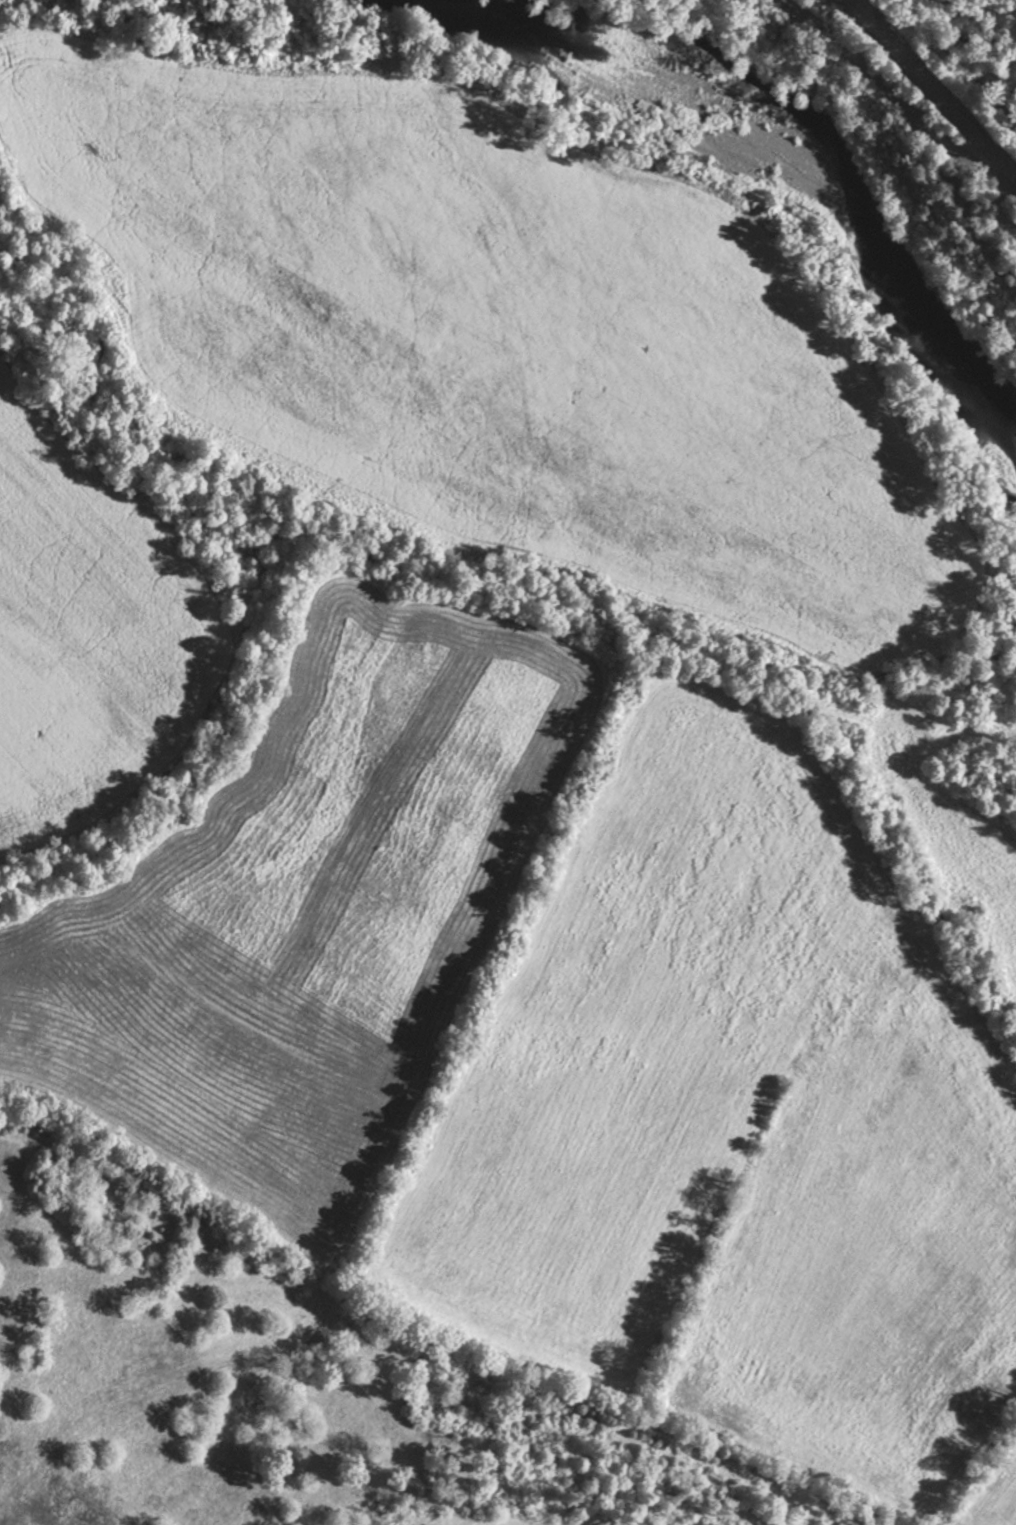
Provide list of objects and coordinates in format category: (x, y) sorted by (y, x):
road: (894, 101)
river: (804, 148)

